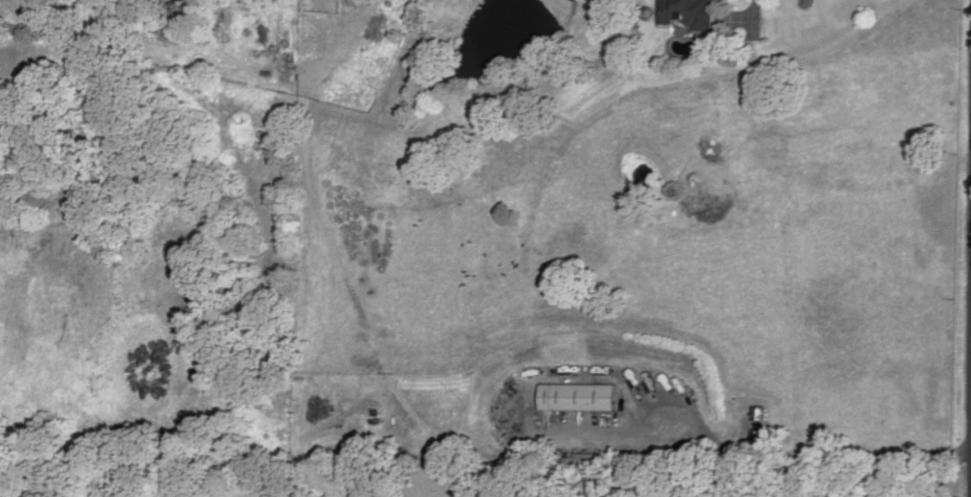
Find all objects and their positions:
building: (689, 12)
road: (757, 17)
road: (741, 20)
building: (577, 397)
road: (641, 405)
building: (762, 412)
building: (761, 435)
road: (845, 459)

